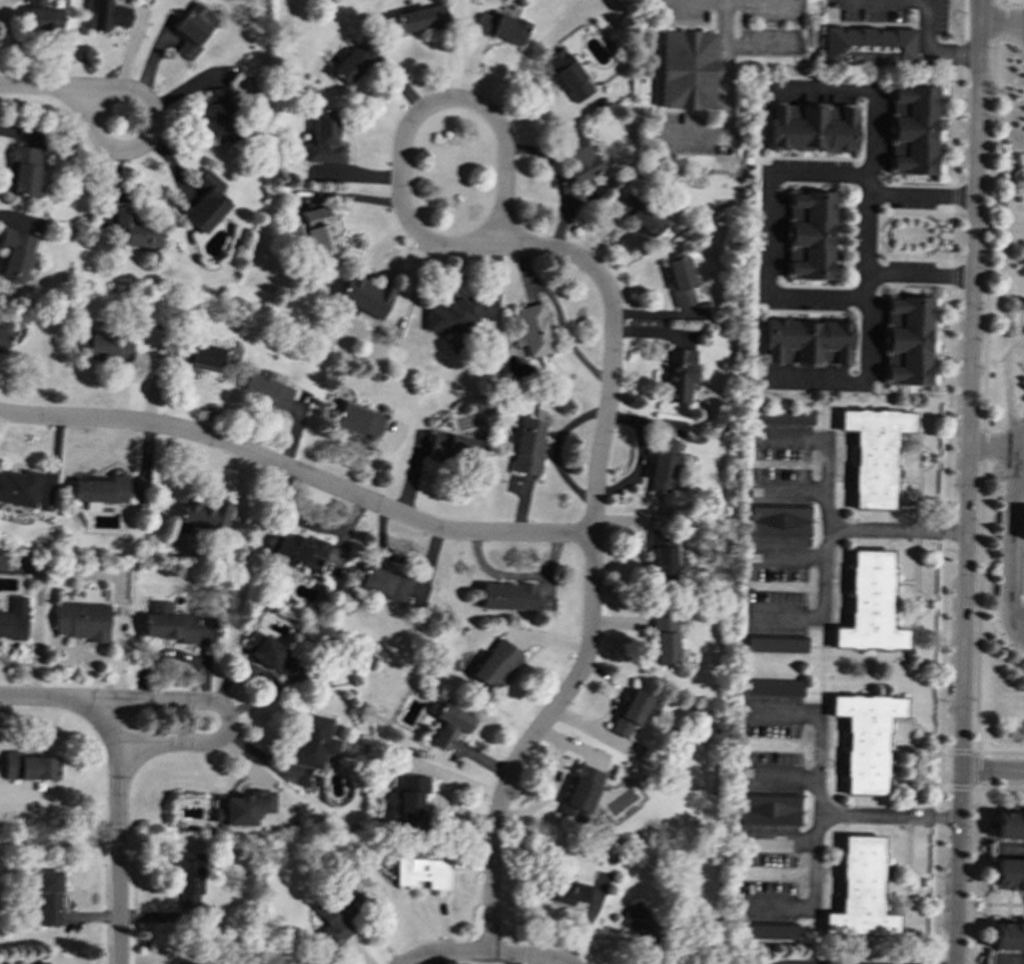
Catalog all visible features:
road: (1001, 13)
building: (108, 15)
building: (42, 16)
building: (422, 18)
road: (960, 21)
building: (501, 27)
building: (191, 30)
building: (869, 45)
road: (929, 45)
road: (958, 54)
road: (725, 61)
building: (353, 63)
building: (687, 69)
building: (567, 75)
road: (69, 92)
road: (871, 92)
road: (438, 103)
building: (221, 114)
building: (812, 127)
road: (956, 127)
building: (912, 129)
building: (324, 139)
building: (577, 157)
building: (21, 171)
road: (954, 196)
building: (205, 202)
building: (639, 214)
road: (767, 227)
building: (133, 228)
building: (319, 231)
building: (810, 234)
road: (953, 235)
road: (918, 273)
road: (952, 275)
road: (864, 279)
building: (680, 280)
building: (364, 297)
building: (451, 315)
building: (532, 330)
building: (2, 340)
building: (907, 340)
building: (806, 341)
building: (107, 347)
road: (612, 353)
building: (199, 356)
building: (679, 373)
building: (267, 389)
road: (983, 400)
road: (949, 405)
building: (780, 415)
building: (358, 421)
road: (995, 442)
building: (452, 447)
building: (527, 447)
building: (875, 453)
building: (661, 466)
road: (296, 474)
road: (824, 481)
road: (966, 481)
building: (18, 487)
building: (100, 491)
building: (203, 516)
building: (1023, 520)
building: (778, 522)
road: (849, 527)
road: (945, 532)
road: (1011, 536)
building: (298, 551)
building: (660, 555)
building: (383, 583)
building: (507, 596)
building: (870, 604)
building: (13, 619)
building: (81, 621)
building: (167, 623)
building: (662, 639)
building: (775, 645)
road: (942, 645)
building: (268, 653)
building: (495, 664)
building: (771, 686)
road: (565, 693)
road: (48, 699)
building: (632, 712)
road: (224, 716)
building: (449, 725)
road: (816, 729)
building: (866, 738)
building: (312, 742)
road: (962, 751)
road: (939, 762)
building: (28, 766)
road: (992, 768)
road: (973, 770)
road: (960, 787)
road: (998, 788)
road: (938, 793)
building: (579, 795)
building: (411, 801)
building: (244, 808)
building: (768, 810)
road: (843, 813)
road: (938, 817)
building: (1009, 824)
road: (117, 831)
road: (1009, 849)
building: (421, 872)
building: (1008, 874)
road: (972, 876)
building: (188, 879)
building: (860, 891)
building: (567, 893)
road: (936, 893)
road: (490, 896)
building: (48, 898)
building: (338, 909)
building: (639, 925)
building: (767, 931)
building: (1007, 934)
road: (446, 955)
road: (524, 958)
road: (1008, 959)
building: (42, 962)
building: (189, 963)
road: (934, 963)

